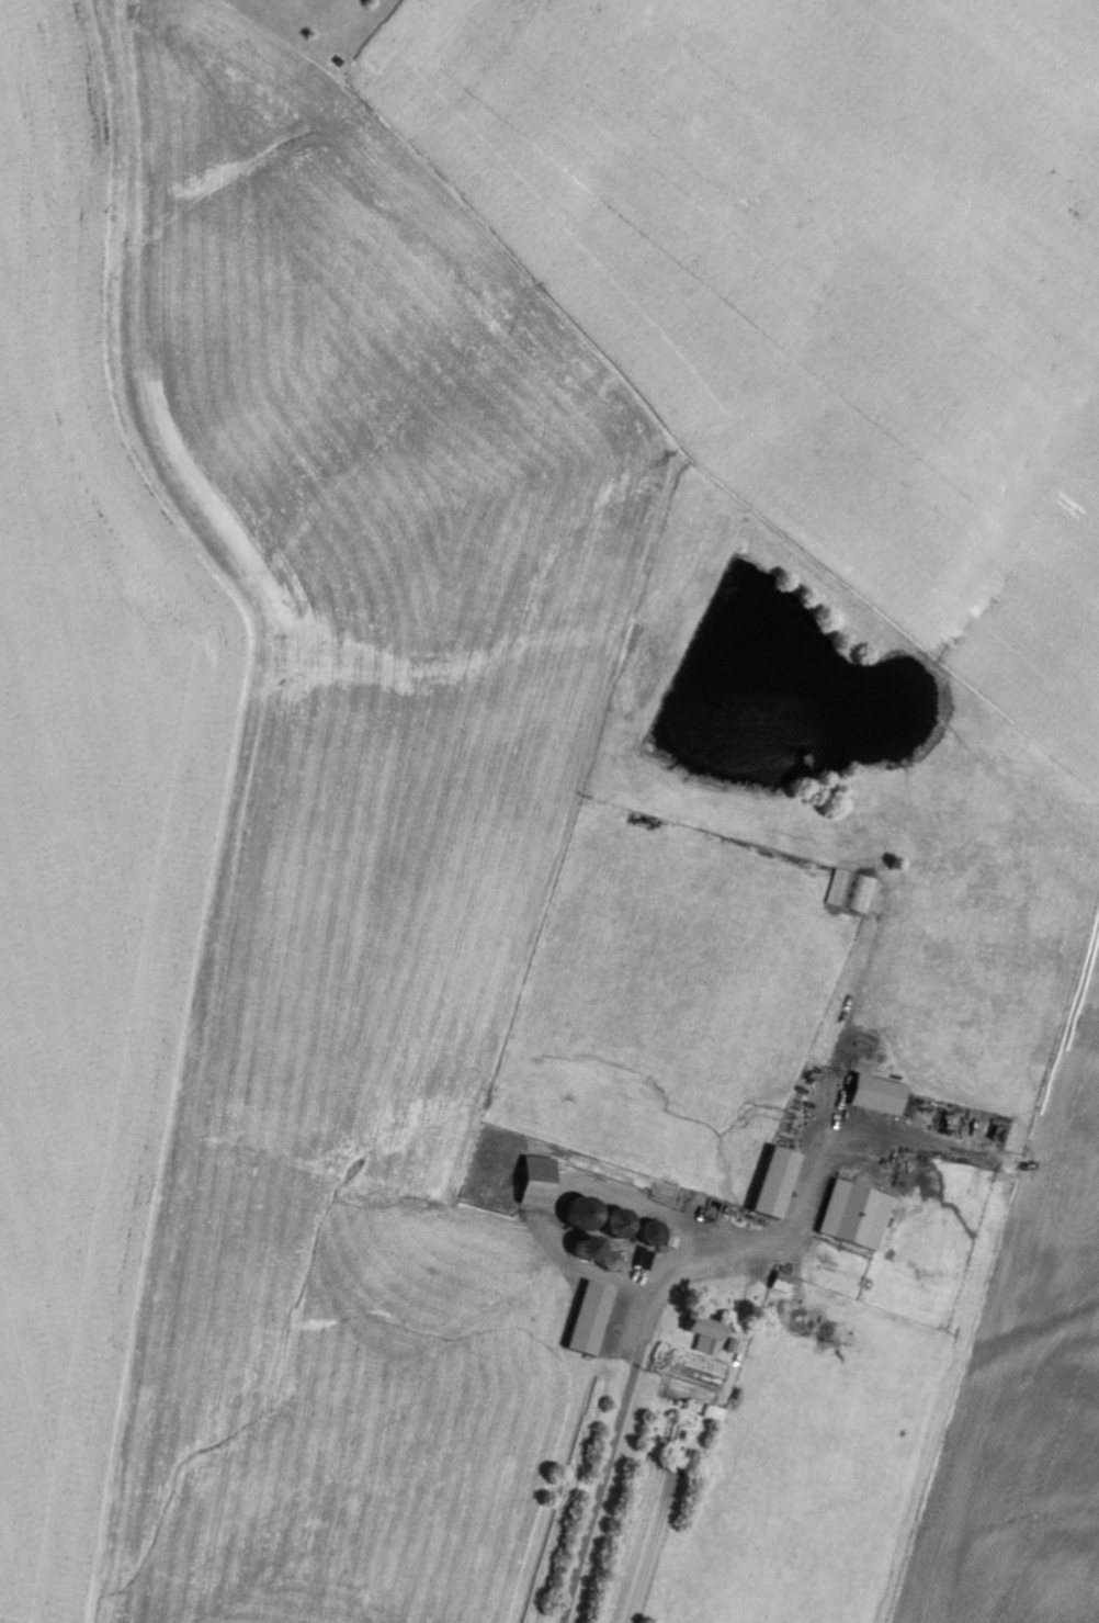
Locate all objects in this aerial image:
building: (850, 892)
building: (875, 1094)
building: (537, 1181)
building: (774, 1183)
building: (854, 1215)
building: (781, 1282)
building: (590, 1319)
building: (705, 1334)
road: (612, 1445)

